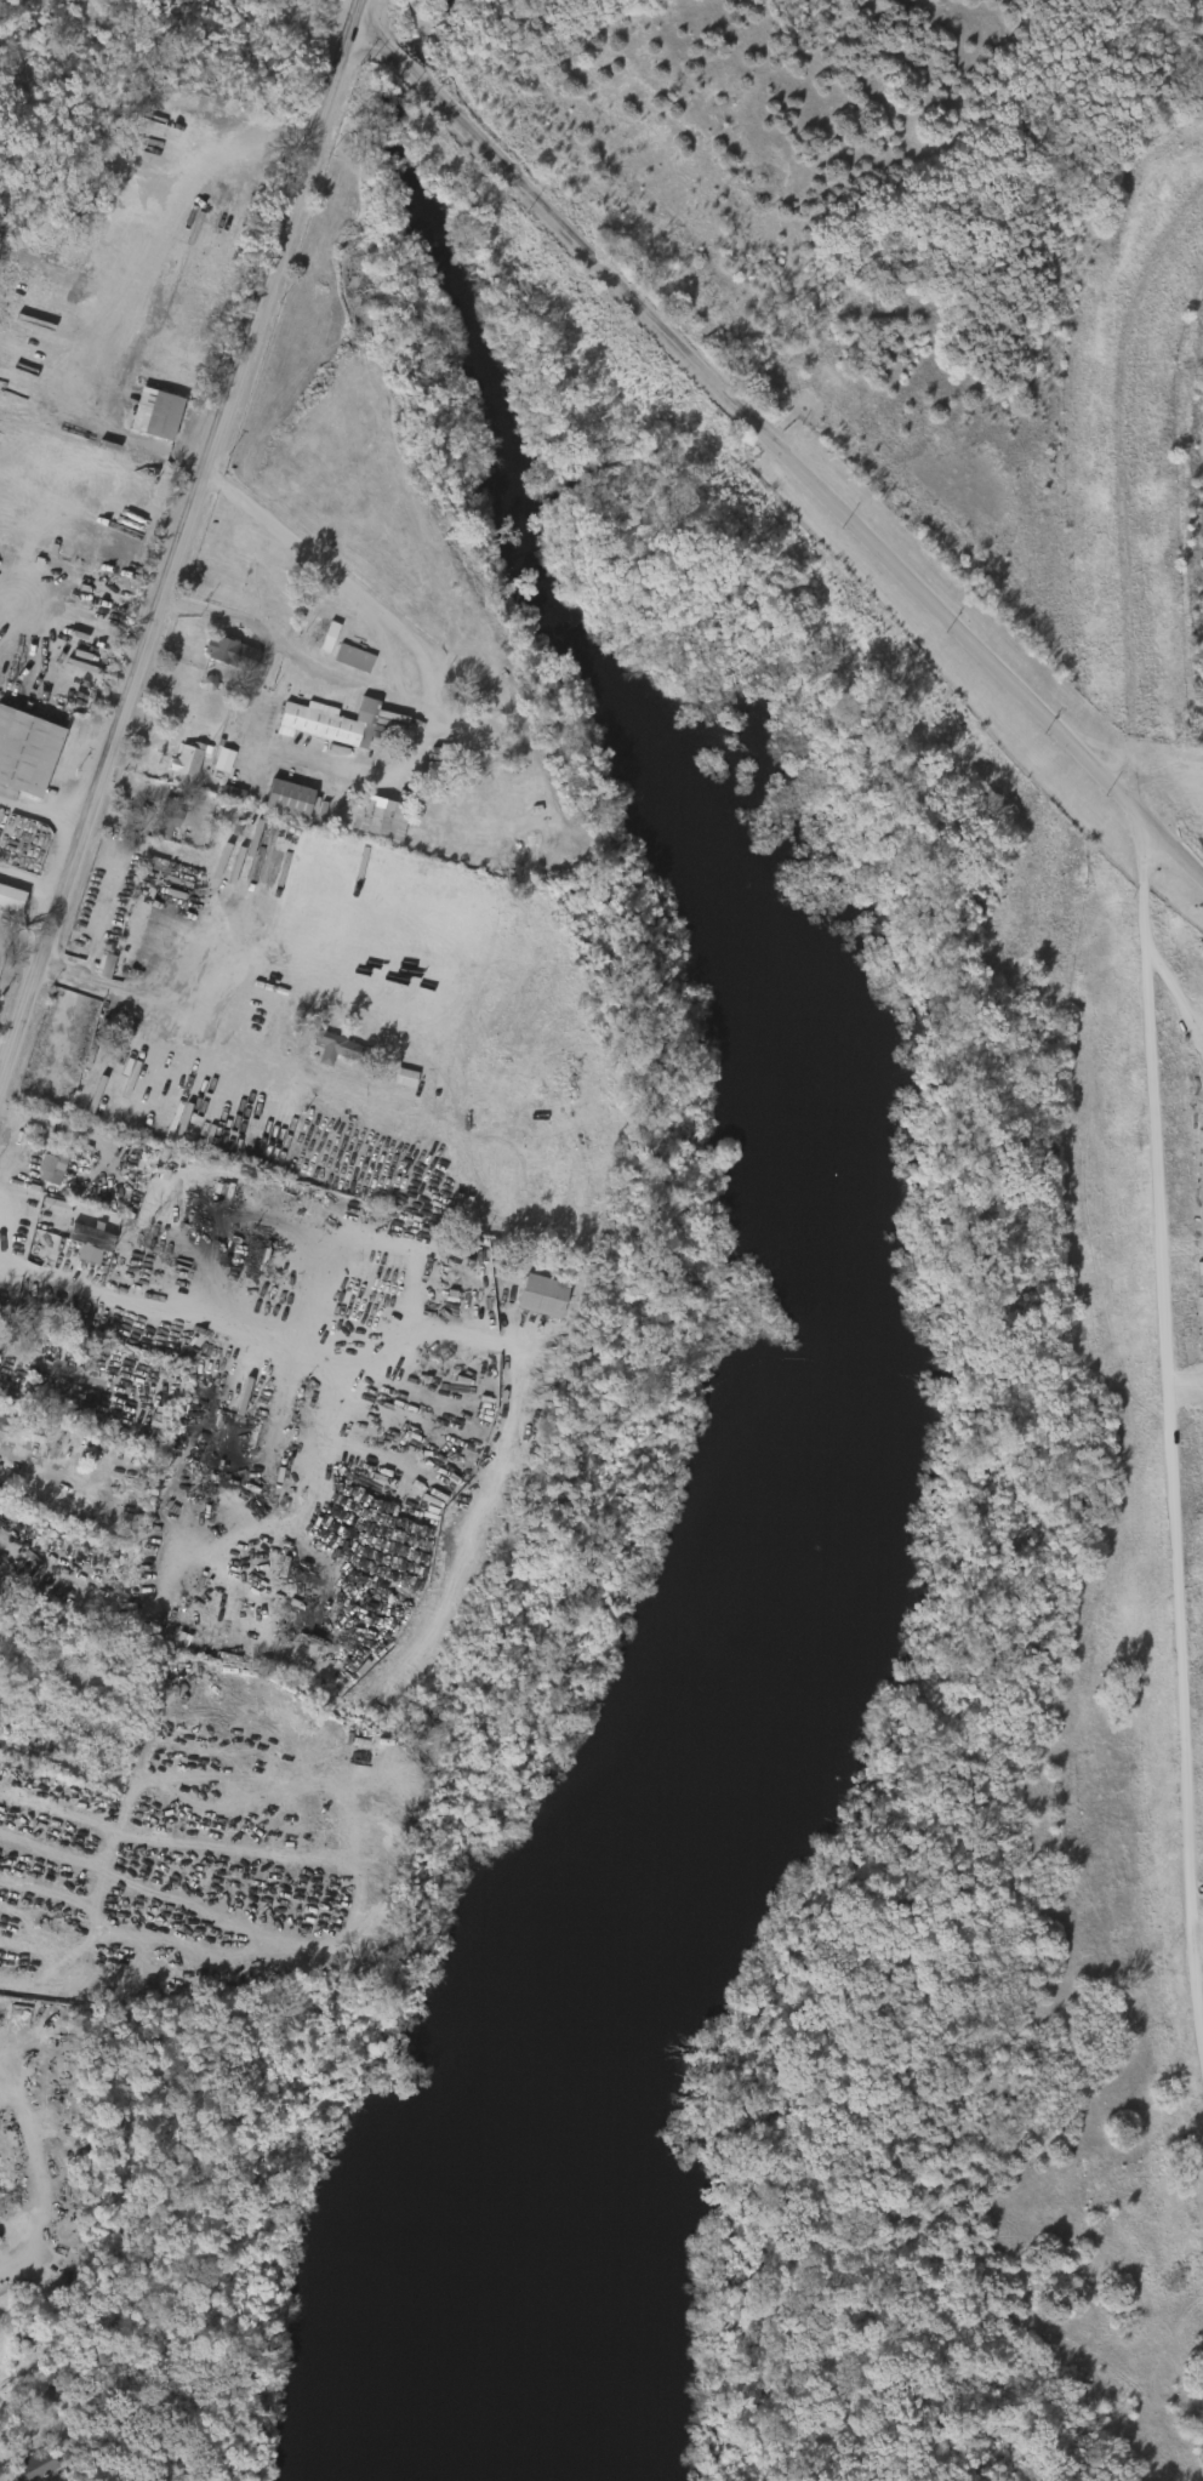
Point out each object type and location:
road: (360, 16)
building: (160, 413)
road: (752, 413)
road: (121, 443)
road: (176, 559)
road: (331, 576)
building: (281, 606)
building: (269, 609)
building: (332, 638)
building: (235, 654)
building: (358, 658)
building: (344, 662)
road: (321, 672)
building: (333, 722)
building: (29, 751)
building: (192, 759)
building: (228, 760)
building: (178, 763)
road: (304, 763)
building: (215, 764)
building: (223, 797)
building: (293, 799)
road: (44, 811)
building: (384, 817)
building: (171, 820)
building: (155, 833)
road: (1170, 843)
building: (38, 844)
road: (33, 877)
building: (6, 902)
road: (89, 947)
building: (106, 976)
building: (338, 1048)
building: (324, 1051)
road: (126, 1103)
road: (144, 1152)
building: (56, 1165)
building: (44, 1168)
building: (81, 1245)
road: (44, 1274)
building: (547, 1296)
road: (1170, 1398)
building: (0, 1420)
road: (139, 1871)
building: (55, 2392)
building: (42, 2468)

